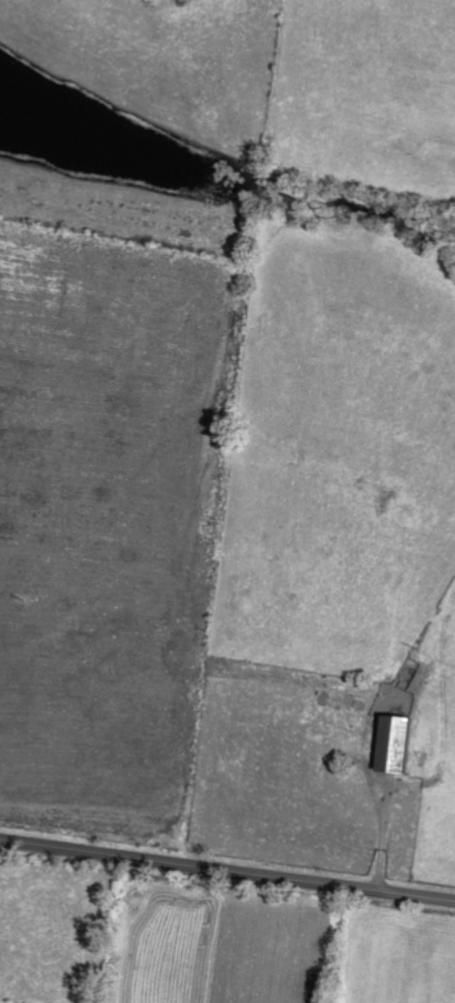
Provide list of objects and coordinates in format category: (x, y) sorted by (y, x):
building: (397, 743)
road: (227, 870)

